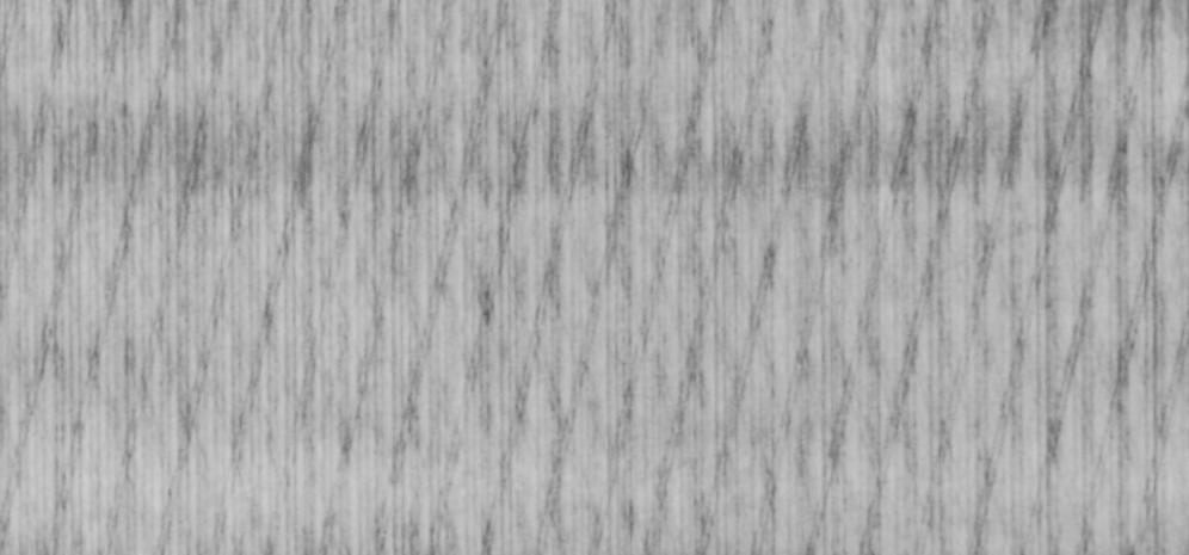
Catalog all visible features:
crop: (594, 277)

